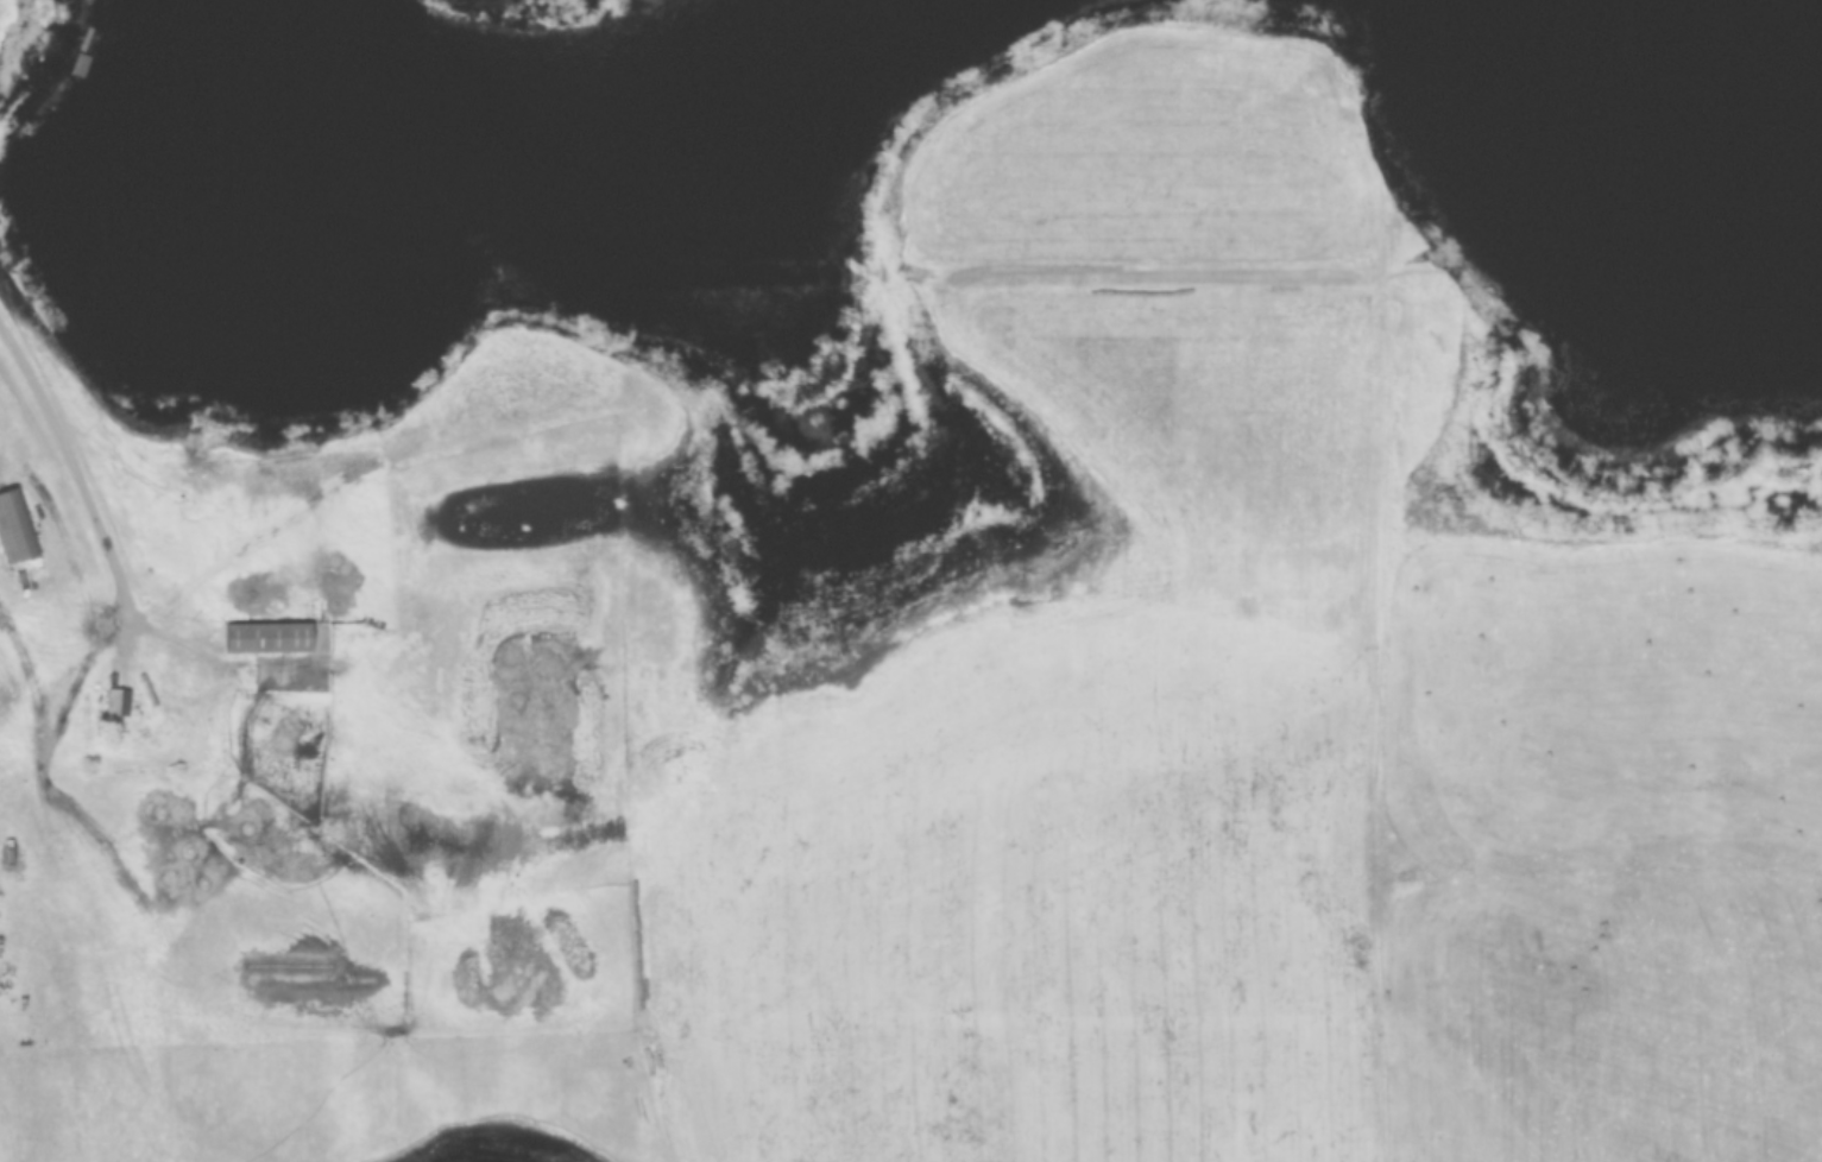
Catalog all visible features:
road: (81, 466)
building: (17, 529)
building: (348, 629)
building: (267, 637)
road: (155, 682)
building: (182, 682)
building: (116, 703)

